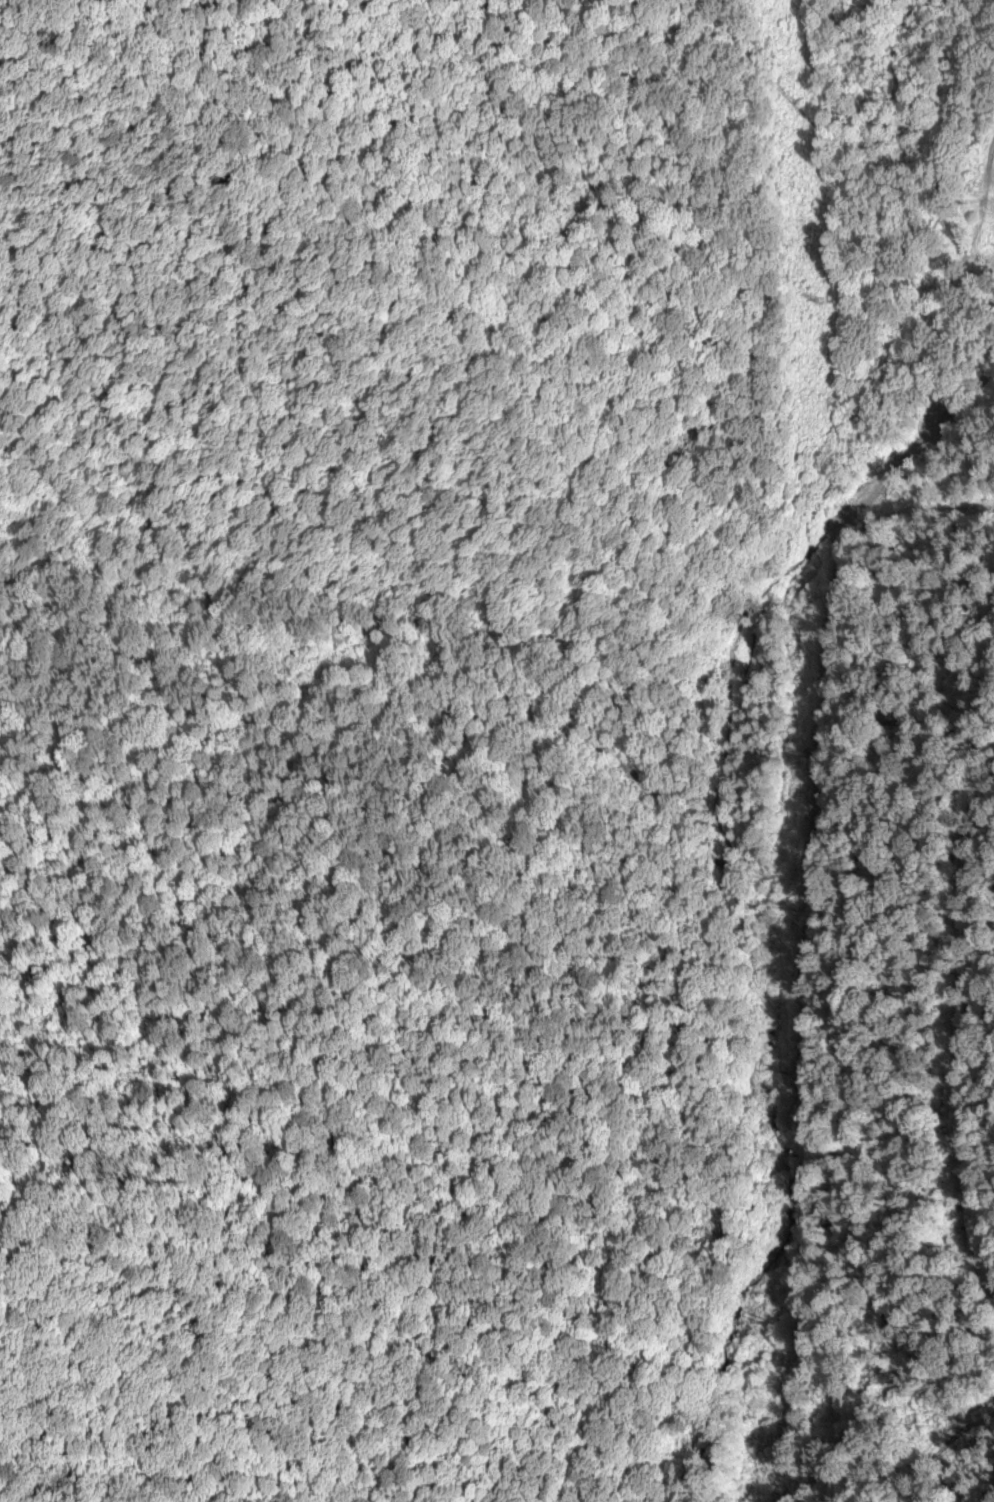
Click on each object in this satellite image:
power tower: (811, 297)
power tower: (808, 757)

